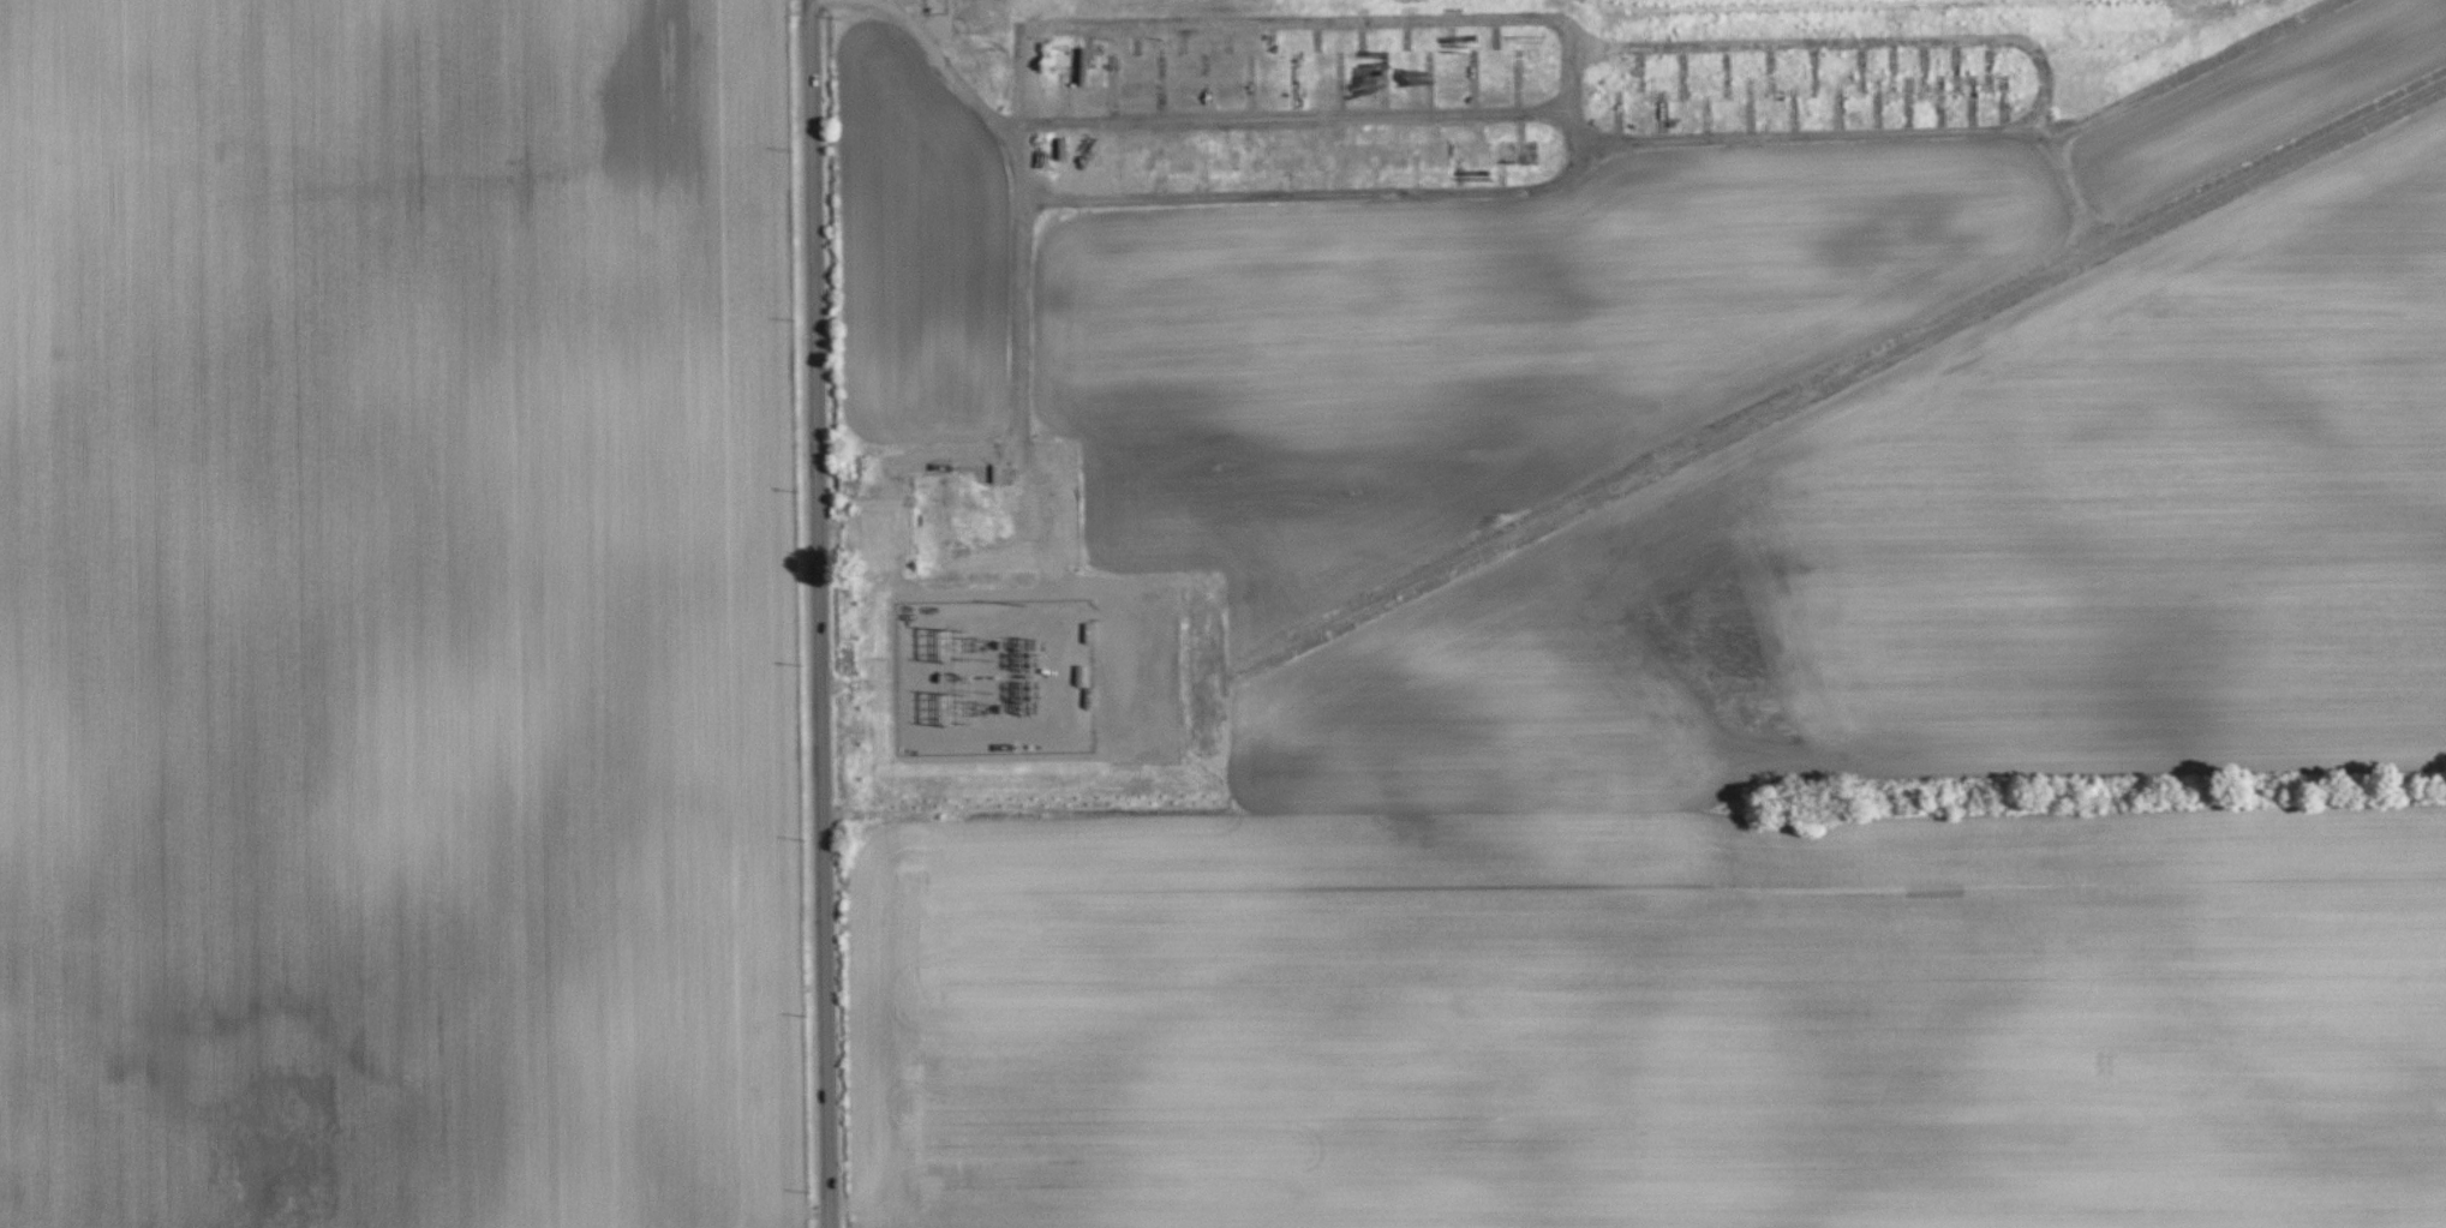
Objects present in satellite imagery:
road: (1017, 188)
road: (819, 613)

